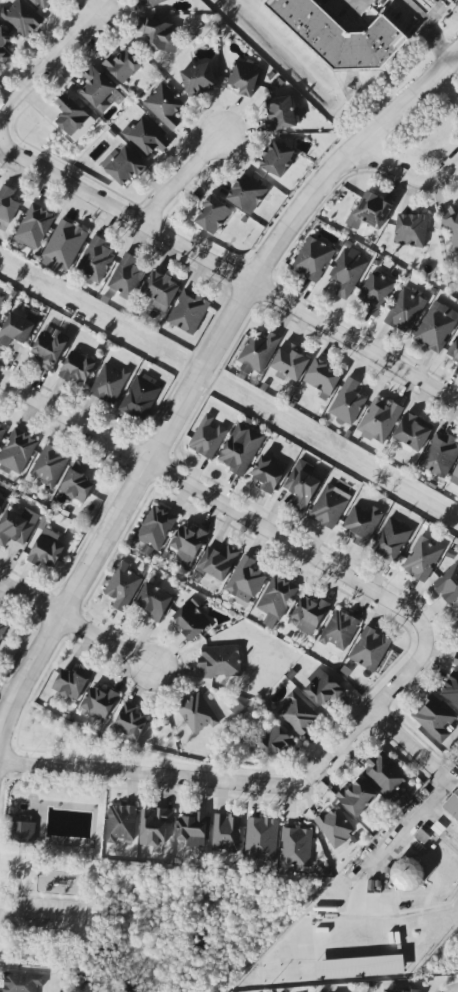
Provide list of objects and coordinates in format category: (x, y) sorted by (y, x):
building: (156, 2)
building: (44, 3)
building: (425, 4)
road: (352, 8)
road: (436, 14)
building: (21, 18)
road: (423, 29)
building: (157, 35)
building: (339, 36)
building: (4, 45)
building: (123, 66)
road: (39, 67)
building: (244, 77)
building: (198, 80)
road: (445, 90)
building: (164, 106)
building: (280, 114)
building: (71, 117)
building: (146, 137)
building: (277, 159)
building: (123, 166)
road: (407, 175)
road: (181, 180)
building: (247, 194)
building: (7, 204)
building: (370, 211)
building: (213, 215)
building: (451, 225)
building: (34, 227)
building: (411, 230)
building: (63, 246)
building: (313, 259)
building: (95, 262)
road: (227, 268)
building: (348, 272)
building: (126, 277)
building: (161, 290)
building: (376, 293)
building: (1, 301)
building: (405, 310)
building: (188, 312)
building: (437, 327)
building: (17, 329)
building: (49, 349)
building: (453, 351)
building: (257, 353)
building: (290, 362)
road: (200, 367)
building: (77, 368)
building: (322, 379)
building: (109, 383)
building: (139, 398)
building: (347, 403)
building: (379, 421)
building: (413, 431)
building: (2, 432)
building: (207, 437)
building: (240, 449)
building: (17, 452)
building: (440, 455)
building: (49, 466)
building: (267, 474)
building: (455, 478)
building: (77, 483)
building: (301, 485)
road: (215, 502)
building: (1, 503)
building: (330, 506)
building: (362, 524)
building: (17, 527)
building: (392, 540)
building: (187, 545)
building: (46, 549)
building: (422, 558)
building: (217, 562)
building: (245, 581)
building: (448, 584)
building: (122, 587)
building: (276, 600)
building: (154, 602)
building: (310, 614)
building: (191, 619)
road: (76, 625)
building: (3, 628)
building: (340, 630)
building: (370, 649)
building: (456, 661)
building: (220, 662)
building: (72, 683)
building: (323, 688)
building: (451, 689)
building: (99, 702)
building: (197, 713)
road: (367, 714)
building: (297, 715)
building: (434, 718)
building: (130, 722)
road: (404, 741)
building: (274, 743)
road: (146, 774)
building: (385, 775)
road: (3, 798)
building: (356, 798)
building: (452, 803)
building: (121, 823)
building: (154, 826)
building: (335, 827)
building: (193, 830)
building: (23, 832)
building: (226, 833)
building: (261, 840)
building: (295, 848)
road: (9, 851)
road: (27, 870)
road: (17, 871)
park: (49, 872)
building: (408, 872)
road: (48, 901)
road: (40, 918)
parking lot: (47, 918)
building: (22, 982)
building: (399, 990)

